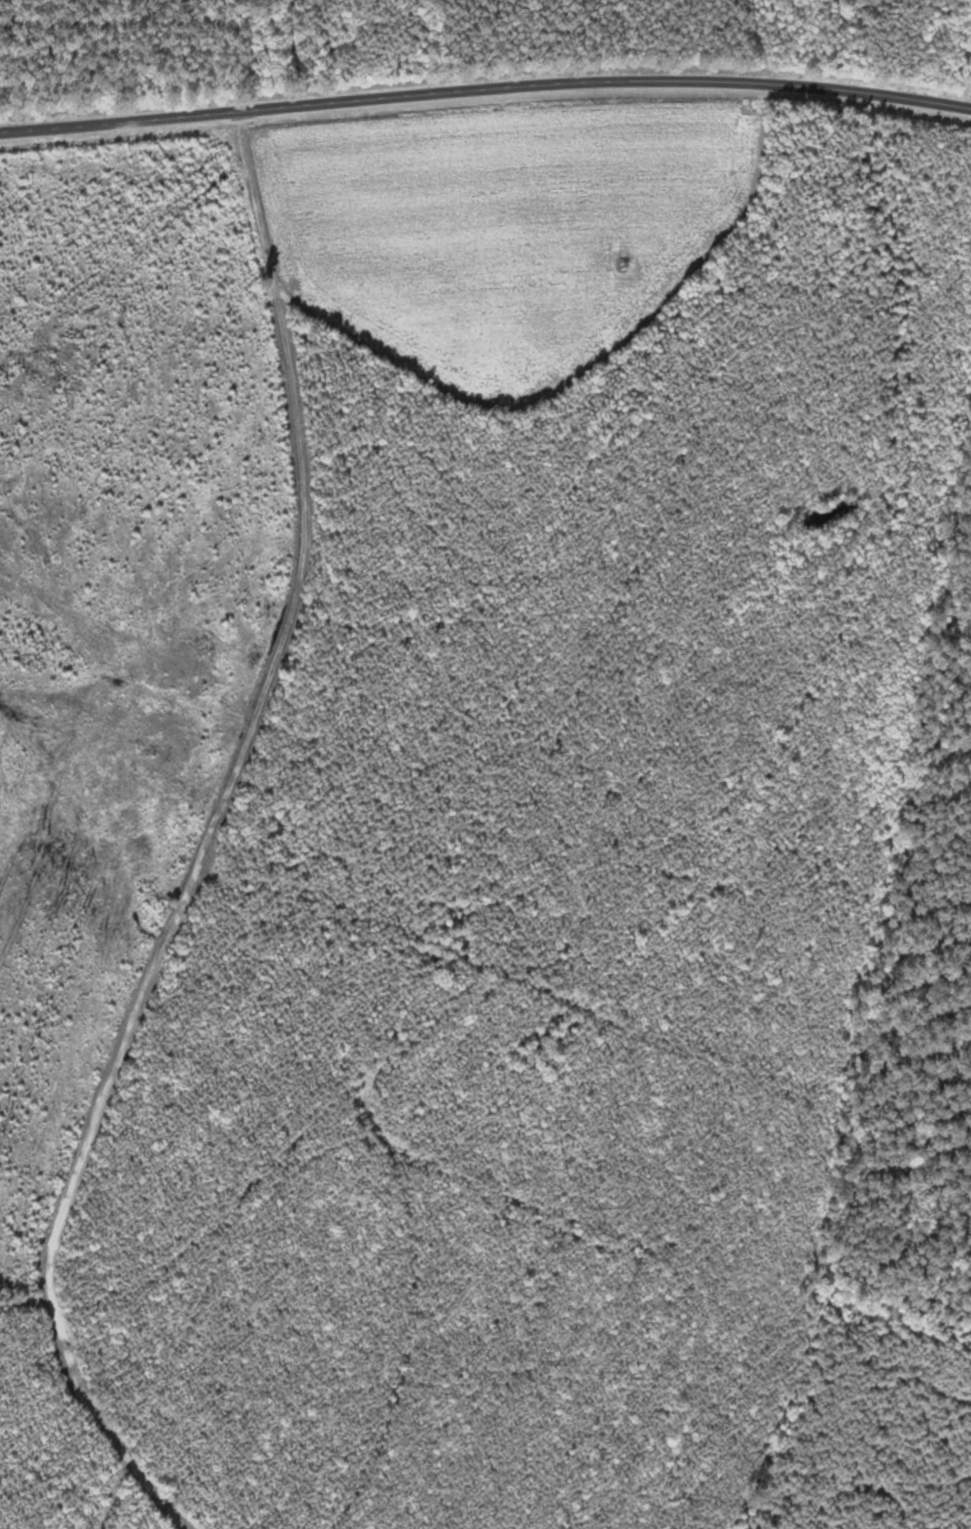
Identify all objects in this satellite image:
road: (485, 90)

